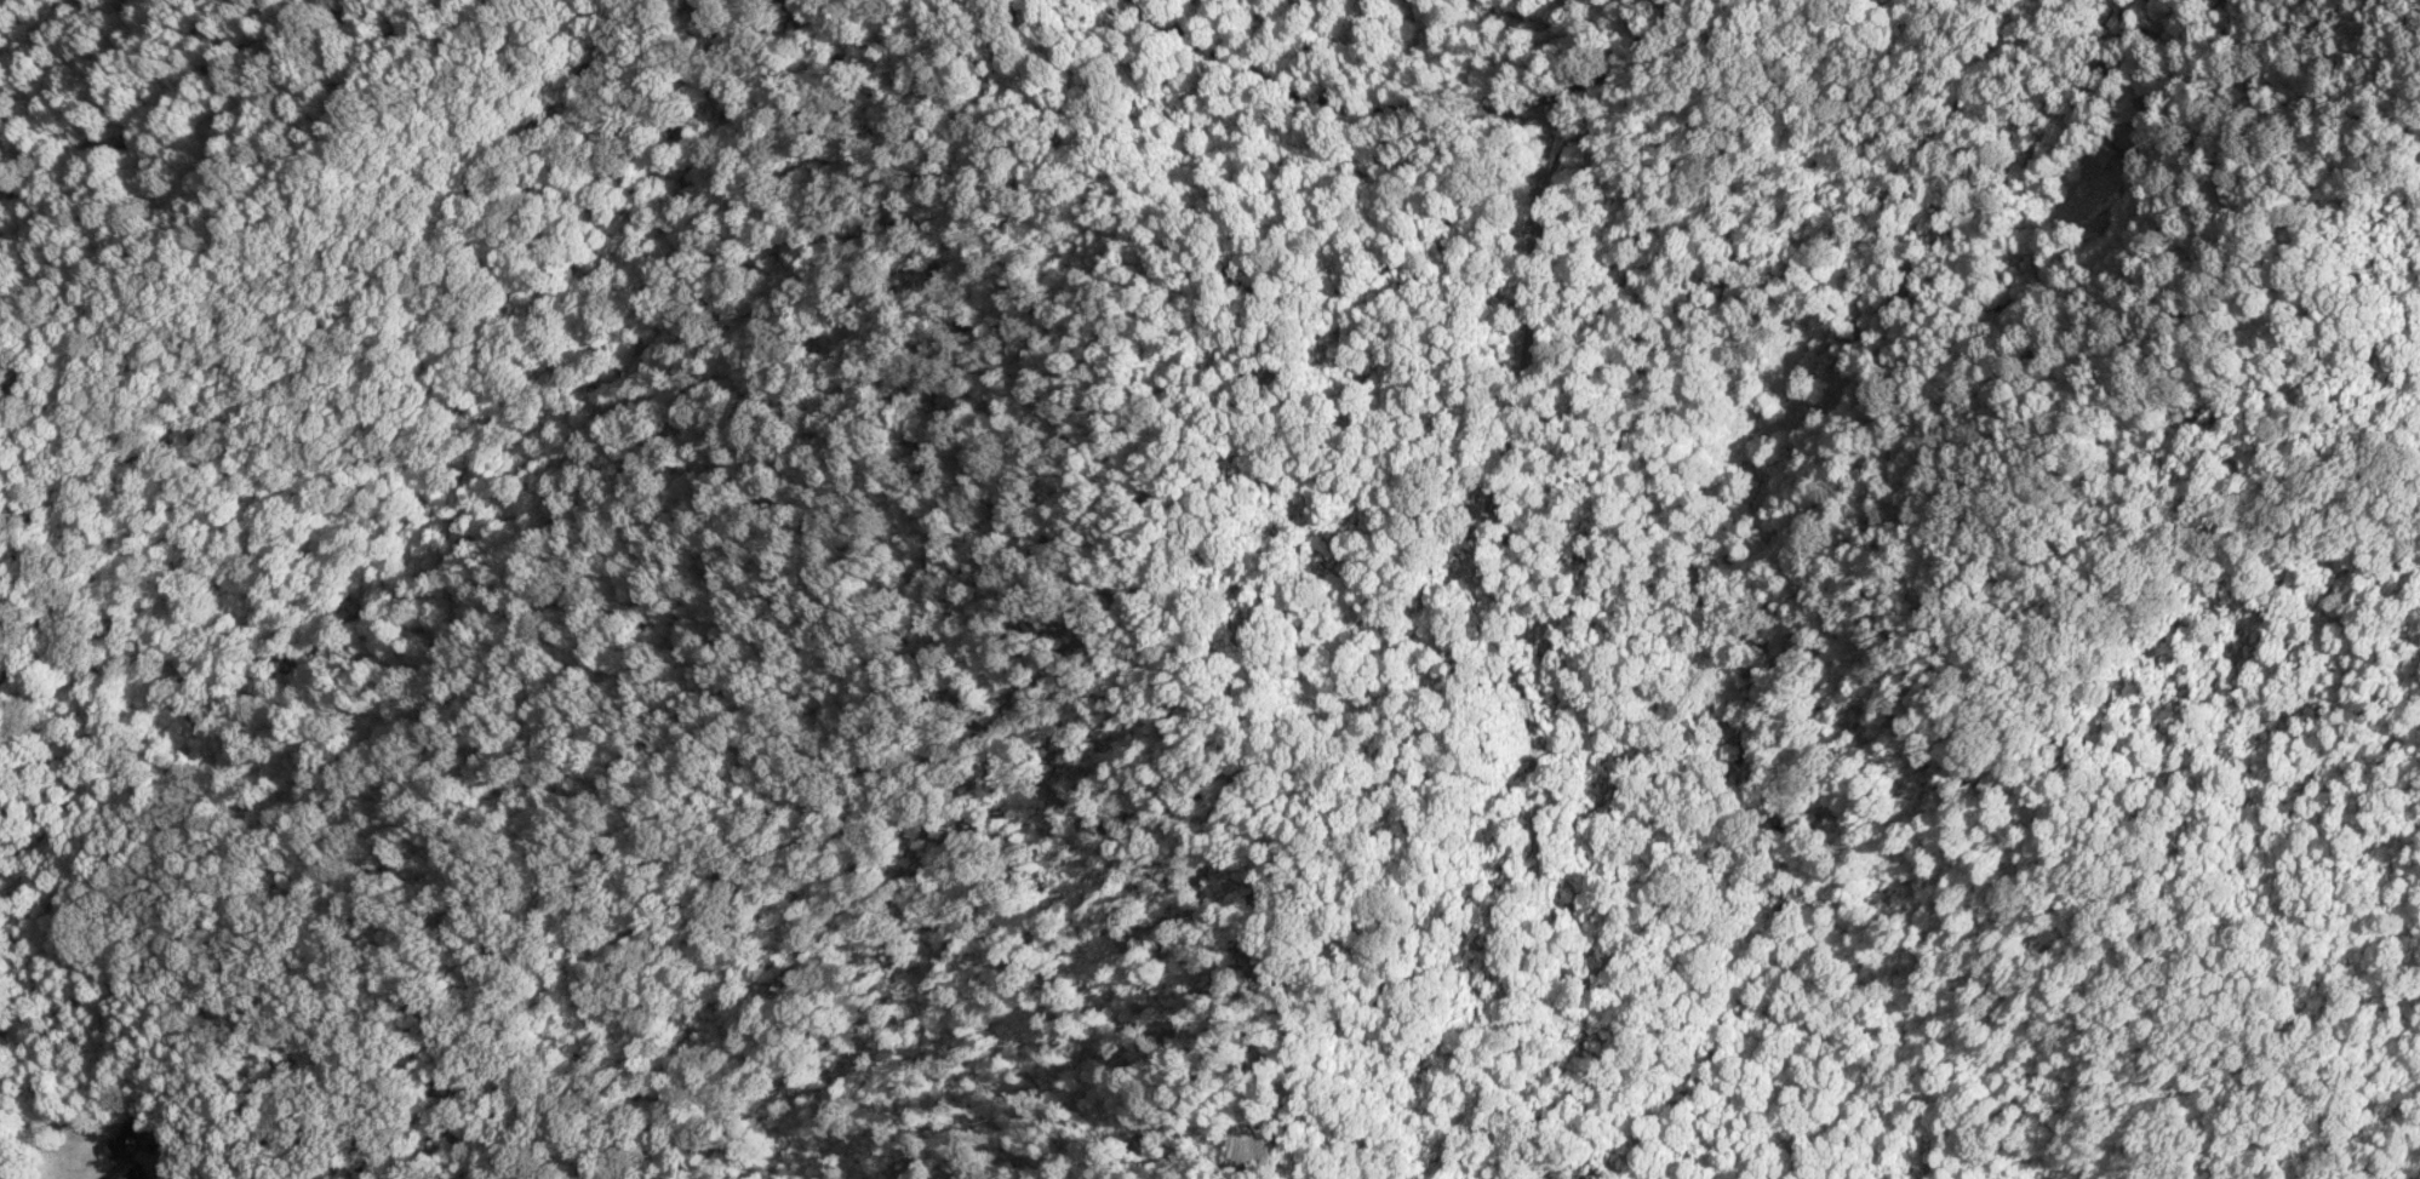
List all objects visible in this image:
building: (2118, 158)

